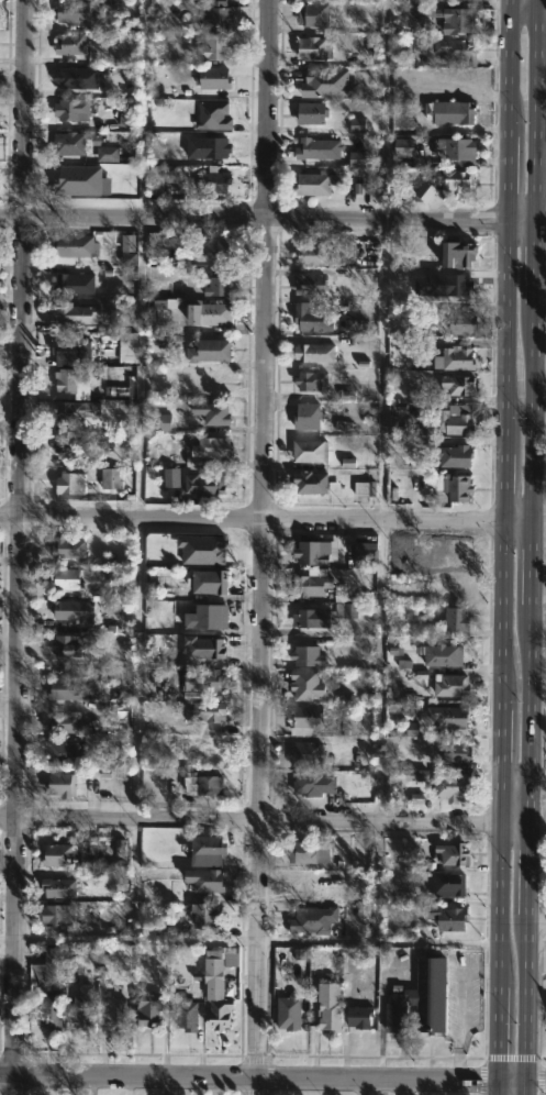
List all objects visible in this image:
road: (539, 8)
road: (521, 9)
building: (77, 12)
building: (219, 14)
building: (310, 14)
building: (447, 18)
building: (75, 44)
building: (215, 46)
building: (315, 46)
building: (454, 49)
building: (212, 77)
building: (71, 78)
building: (328, 84)
building: (74, 109)
building: (452, 112)
building: (313, 113)
building: (211, 115)
building: (357, 125)
building: (71, 144)
building: (213, 146)
building: (312, 147)
building: (402, 148)
building: (454, 151)
building: (108, 154)
building: (357, 158)
building: (156, 179)
building: (81, 181)
building: (314, 181)
building: (442, 182)
building: (216, 184)
road: (253, 215)
road: (520, 219)
road: (539, 220)
building: (127, 243)
building: (71, 247)
building: (212, 252)
building: (157, 255)
building: (310, 255)
building: (454, 255)
building: (305, 284)
building: (71, 285)
building: (220, 285)
building: (207, 312)
building: (78, 313)
building: (161, 314)
building: (310, 319)
building: (461, 323)
building: (354, 325)
building: (169, 341)
building: (130, 347)
building: (208, 352)
building: (76, 353)
building: (316, 353)
building: (453, 358)
road: (382, 368)
building: (73, 379)
building: (314, 381)
building: (455, 385)
building: (78, 411)
building: (215, 413)
building: (310, 417)
building: (452, 420)
building: (161, 422)
building: (74, 444)
building: (208, 446)
building: (311, 452)
building: (450, 456)
building: (165, 476)
building: (113, 479)
building: (309, 482)
building: (73, 484)
building: (208, 485)
building: (453, 487)
building: (365, 488)
road: (249, 521)
road: (514, 521)
road: (536, 521)
road: (500, 546)
road: (526, 546)
road: (21, 547)
road: (260, 547)
building: (67, 549)
building: (202, 551)
building: (307, 552)
building: (360, 555)
building: (66, 578)
building: (213, 580)
building: (308, 584)
building: (74, 610)
building: (345, 610)
building: (211, 616)
building: (309, 617)
building: (456, 620)
building: (66, 645)
building: (204, 646)
building: (438, 654)
building: (304, 655)
building: (174, 676)
building: (208, 678)
building: (303, 684)
building: (448, 685)
building: (68, 688)
building: (210, 711)
building: (446, 716)
building: (301, 719)
building: (69, 722)
building: (412, 730)
building: (64, 750)
building: (452, 752)
building: (303, 753)
building: (417, 775)
road: (512, 783)
building: (311, 784)
road: (535, 784)
building: (60, 785)
building: (201, 785)
building: (447, 785)
road: (248, 821)
road: (511, 828)
building: (120, 848)
building: (208, 851)
building: (307, 851)
building: (450, 853)
building: (67, 854)
building: (96, 863)
building: (207, 881)
building: (447, 883)
building: (57, 887)
building: (60, 914)
building: (209, 915)
building: (443, 918)
building: (311, 919)
road: (535, 932)
road: (136, 939)
road: (377, 941)
building: (76, 959)
building: (51, 962)
building: (218, 985)
building: (419, 999)
building: (328, 1005)
building: (87, 1007)
building: (154, 1009)
building: (53, 1010)
road: (461, 1010)
building: (114, 1011)
building: (289, 1013)
building: (190, 1014)
building: (356, 1016)
road: (379, 1018)
road: (272, 1080)
road: (364, 1087)
road: (401, 1088)

